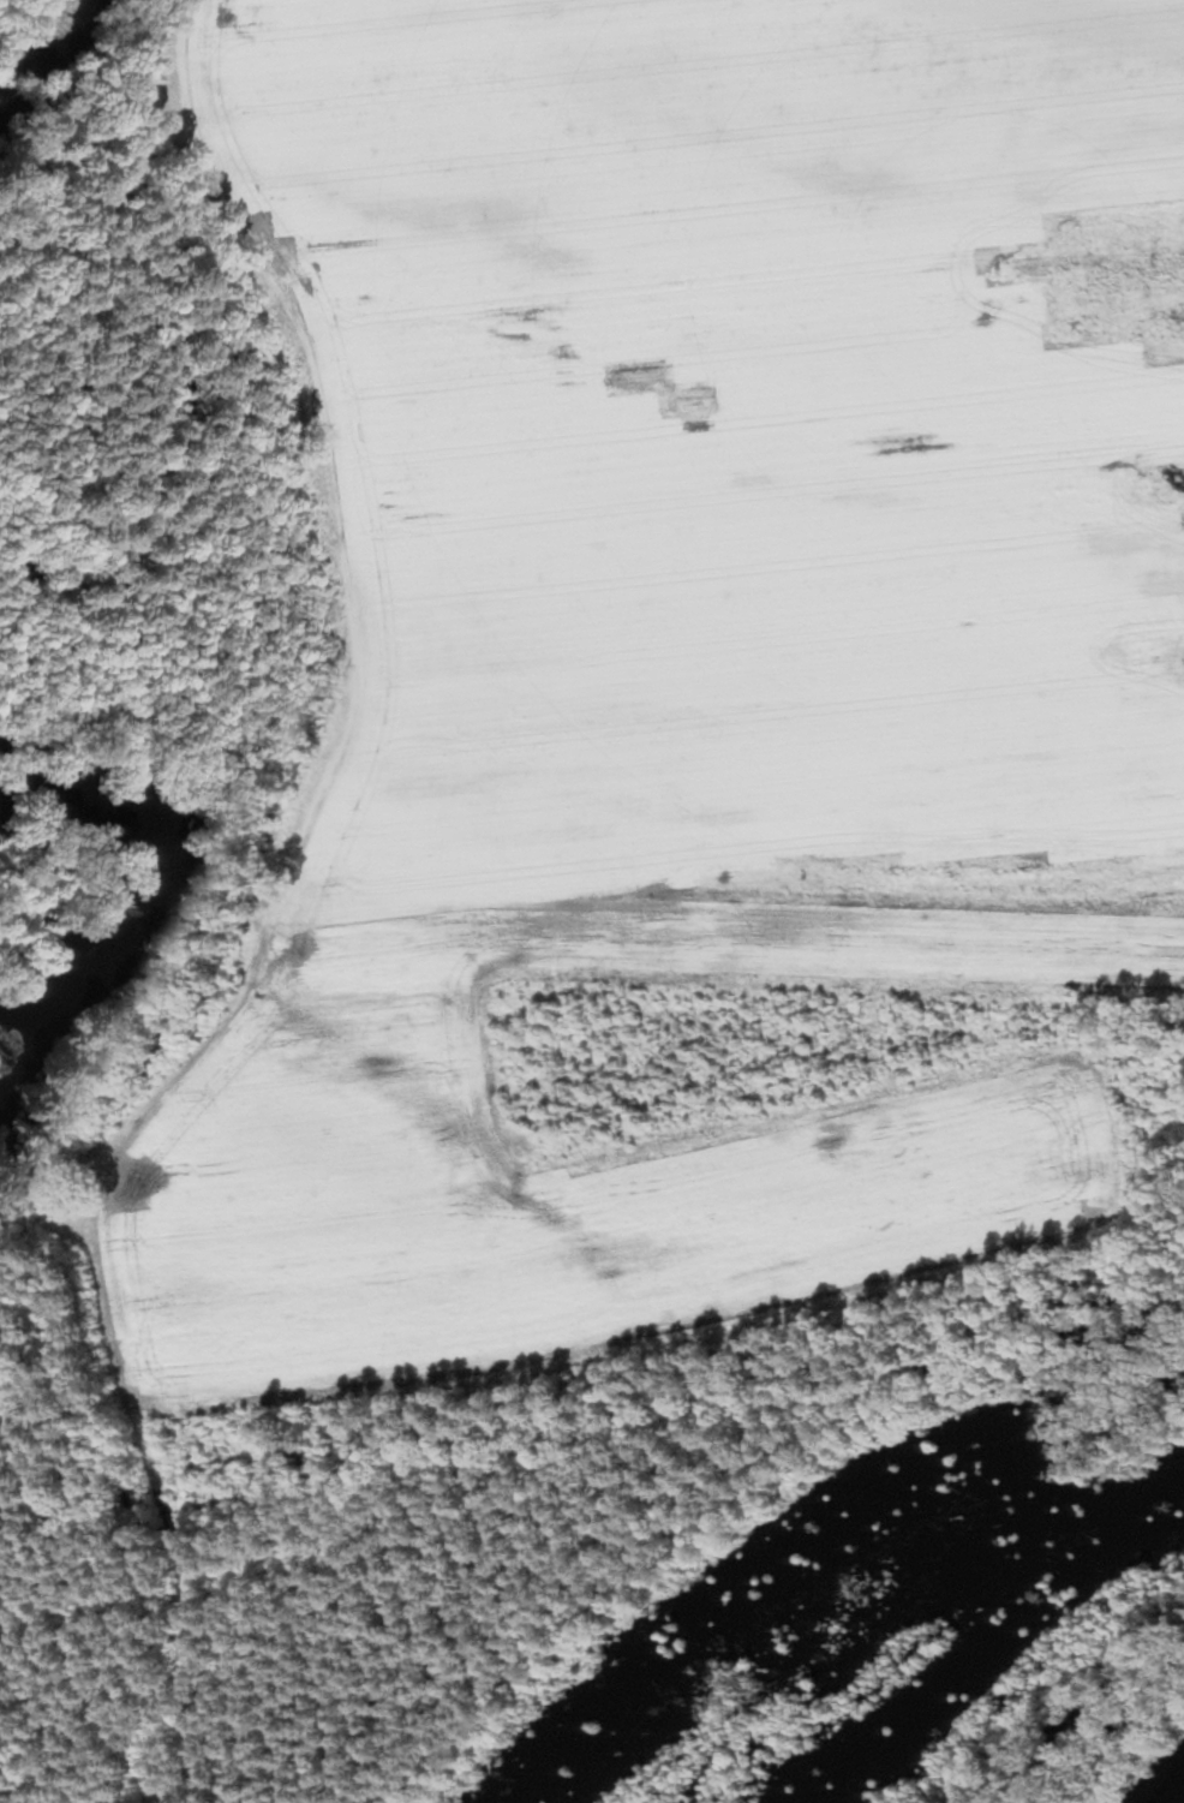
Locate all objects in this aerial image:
river: (31, 37)
river: (136, 890)
river: (1165, 1786)

